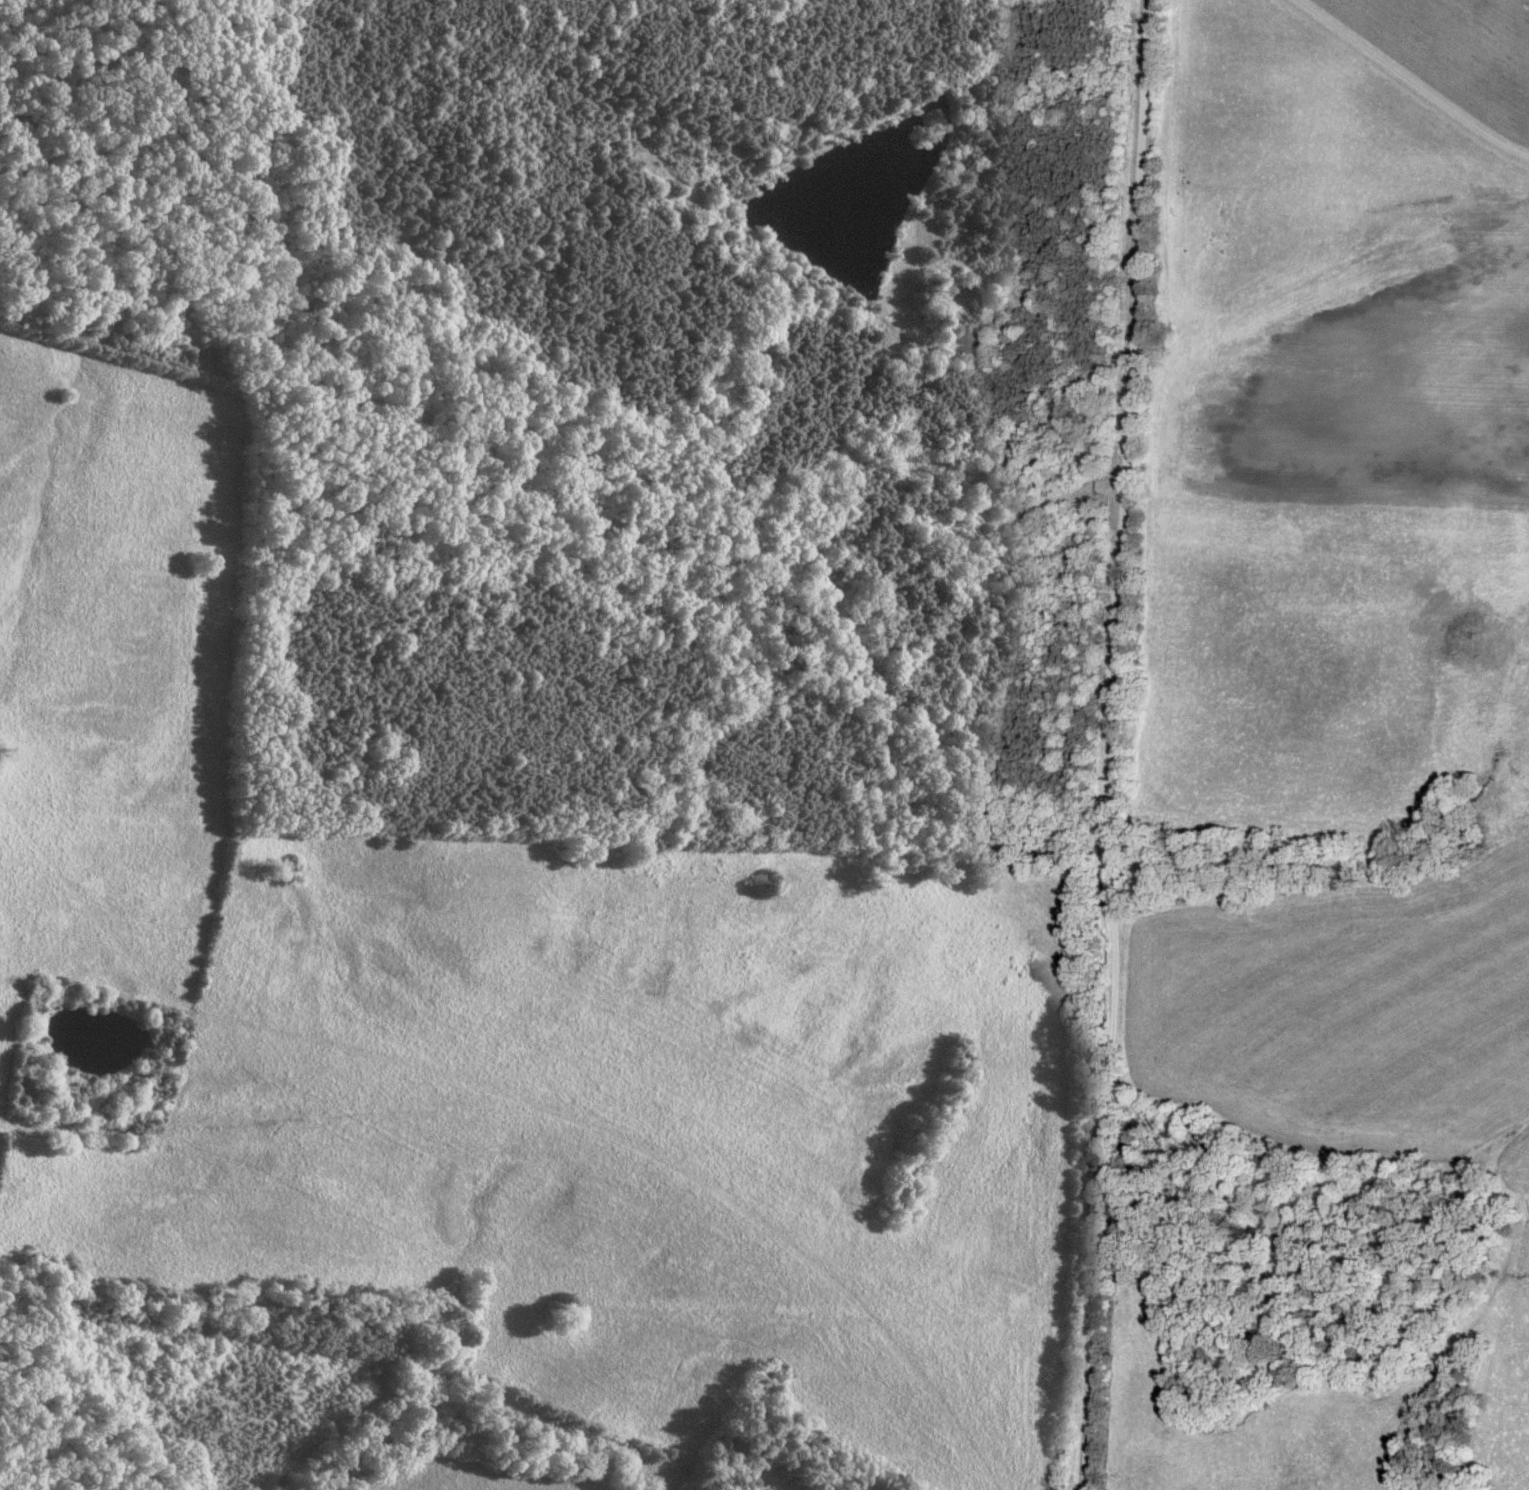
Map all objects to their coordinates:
road: (1408, 84)
road: (1114, 745)

